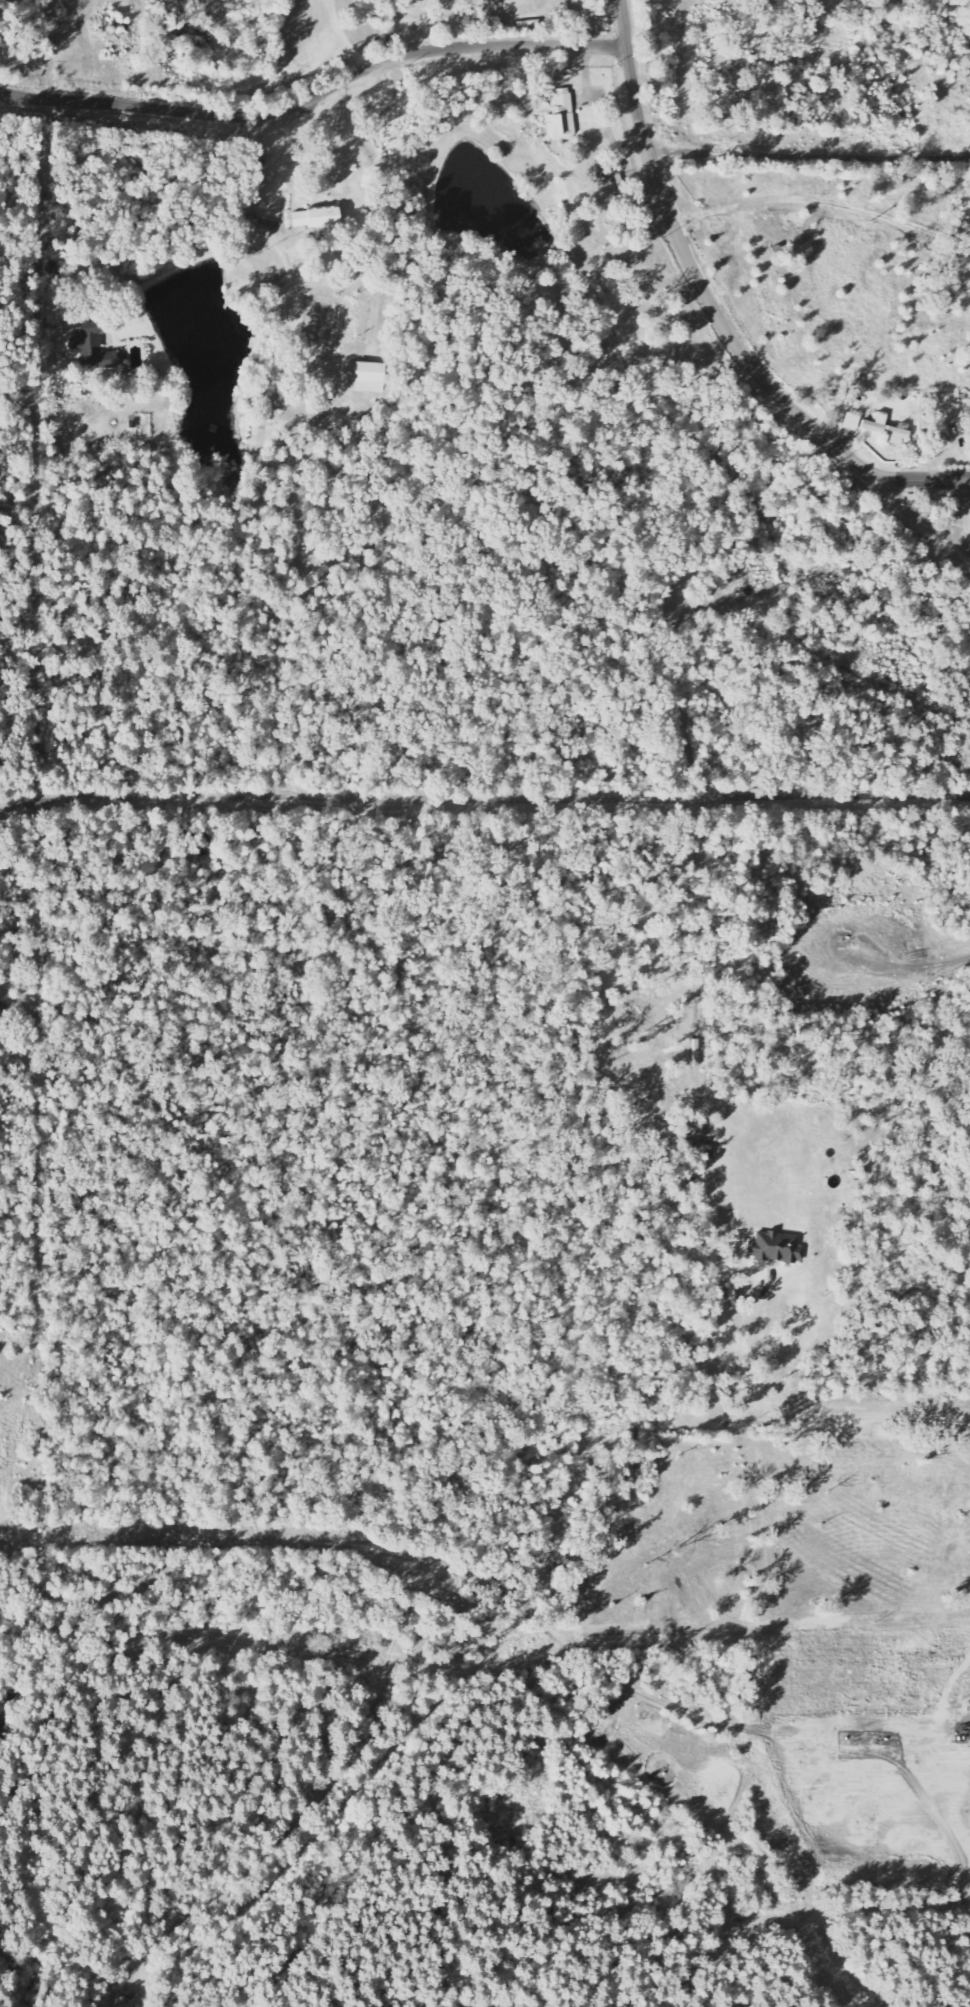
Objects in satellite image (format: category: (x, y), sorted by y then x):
road: (314, 95)
building: (561, 117)
road: (645, 143)
building: (315, 218)
building: (91, 347)
building: (370, 378)
road: (809, 420)
building: (851, 422)
building: (886, 430)
building: (969, 435)
road: (962, 509)
road: (925, 523)
road: (675, 681)
road: (847, 797)
road: (227, 798)
road: (590, 799)
road: (829, 937)
road: (938, 965)
road: (712, 1194)
building: (775, 1249)
road: (828, 1417)
road: (212, 1546)
road: (764, 1632)
road: (723, 1724)
road: (315, 1806)
road: (962, 1809)
road: (857, 1910)

